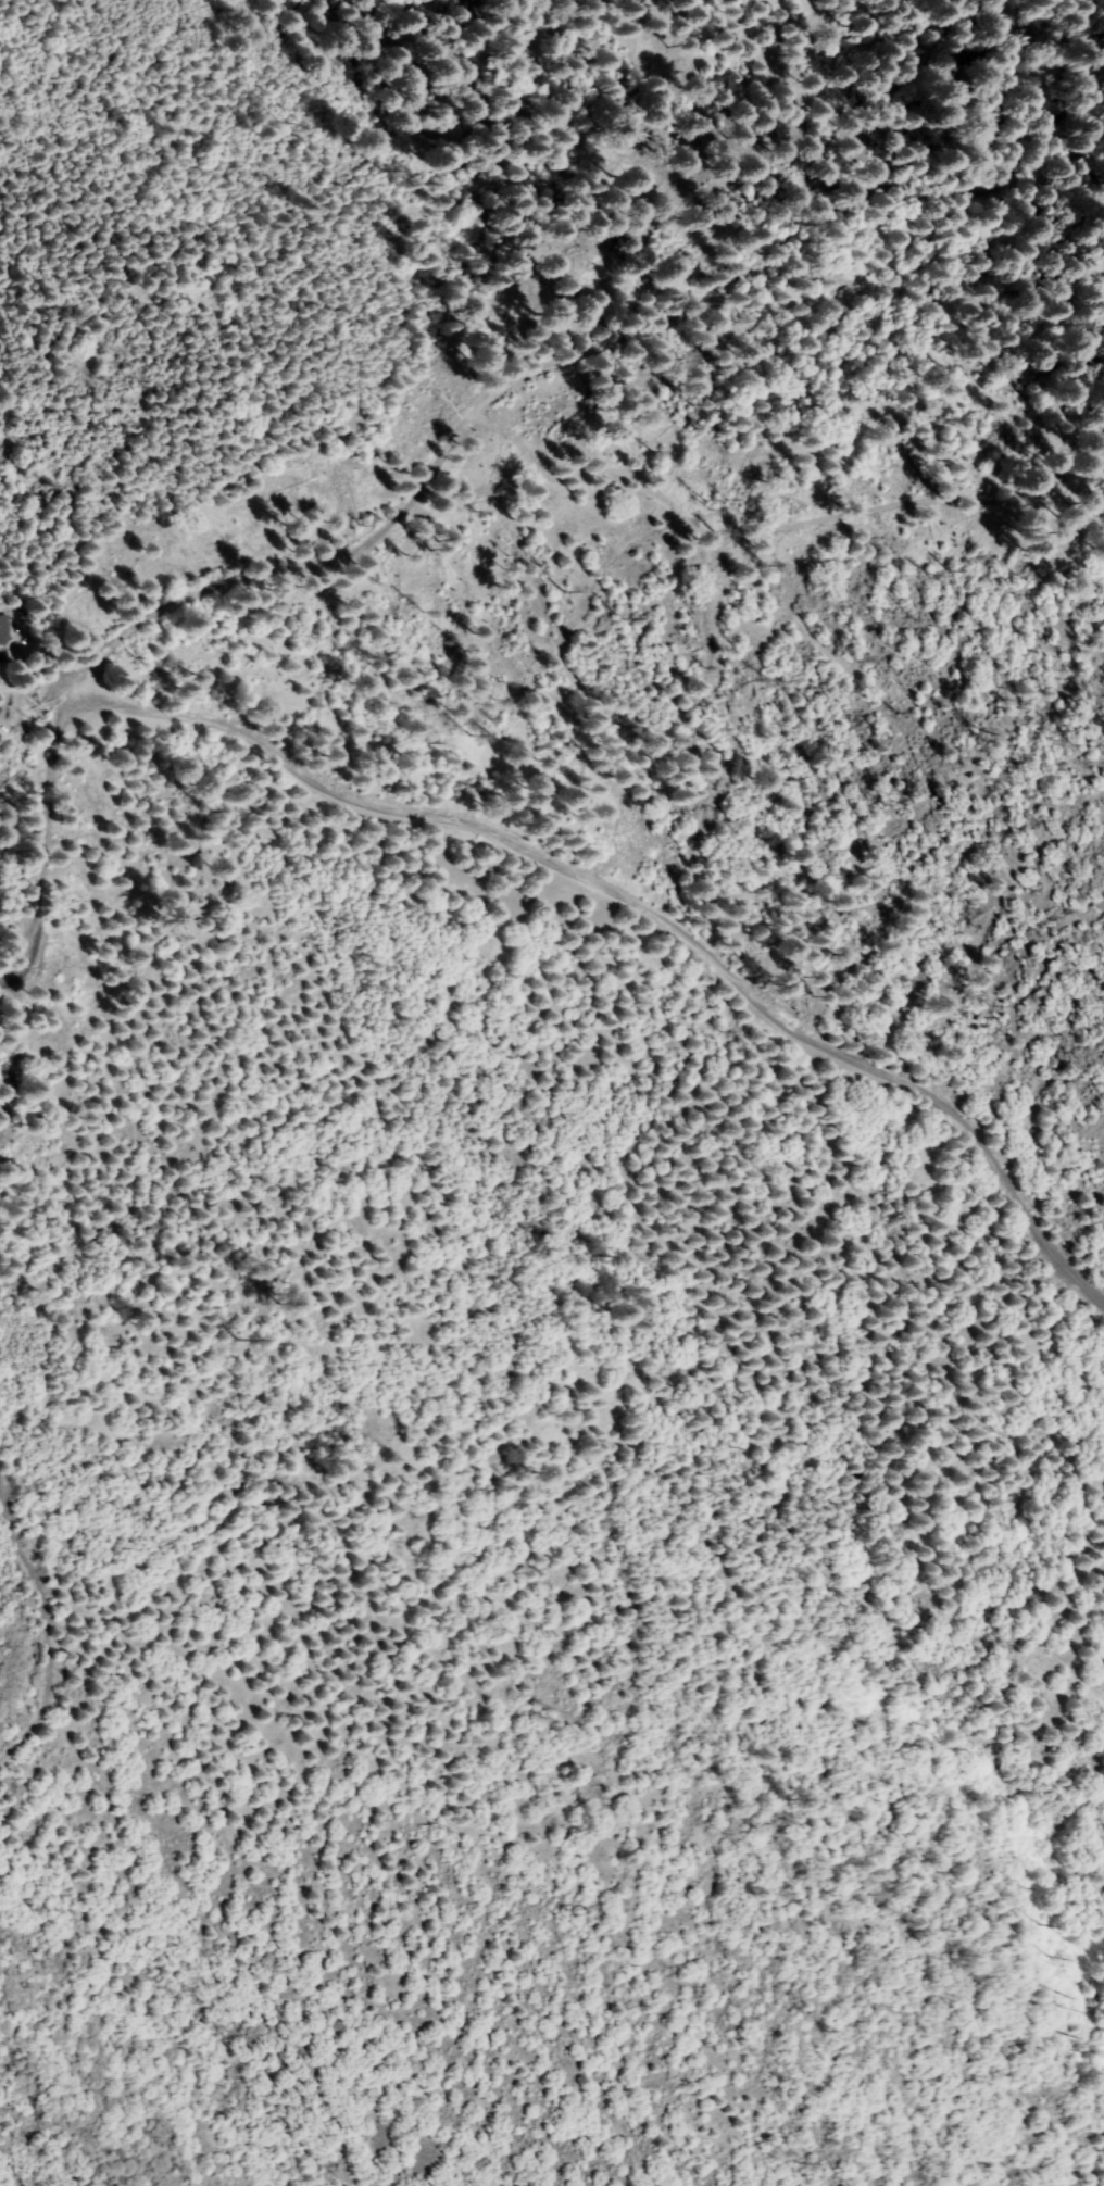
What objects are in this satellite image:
building: (4, 630)
road: (61, 761)
road: (14, 934)
road: (15, 956)
road: (3, 1492)
road: (46, 1615)

